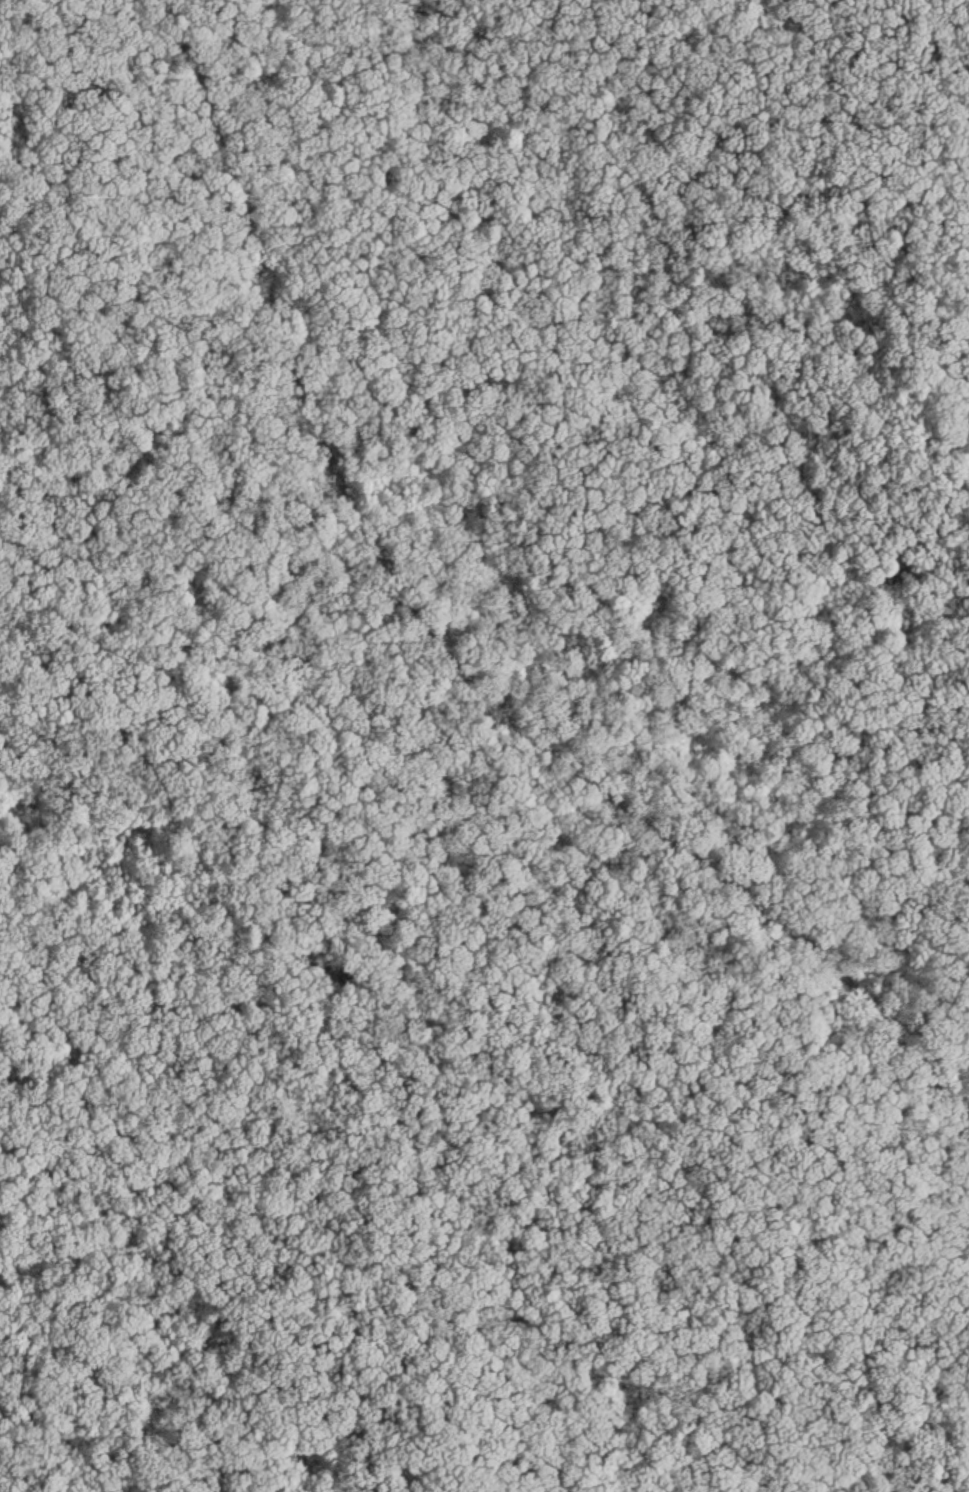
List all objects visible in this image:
road: (447, 656)

